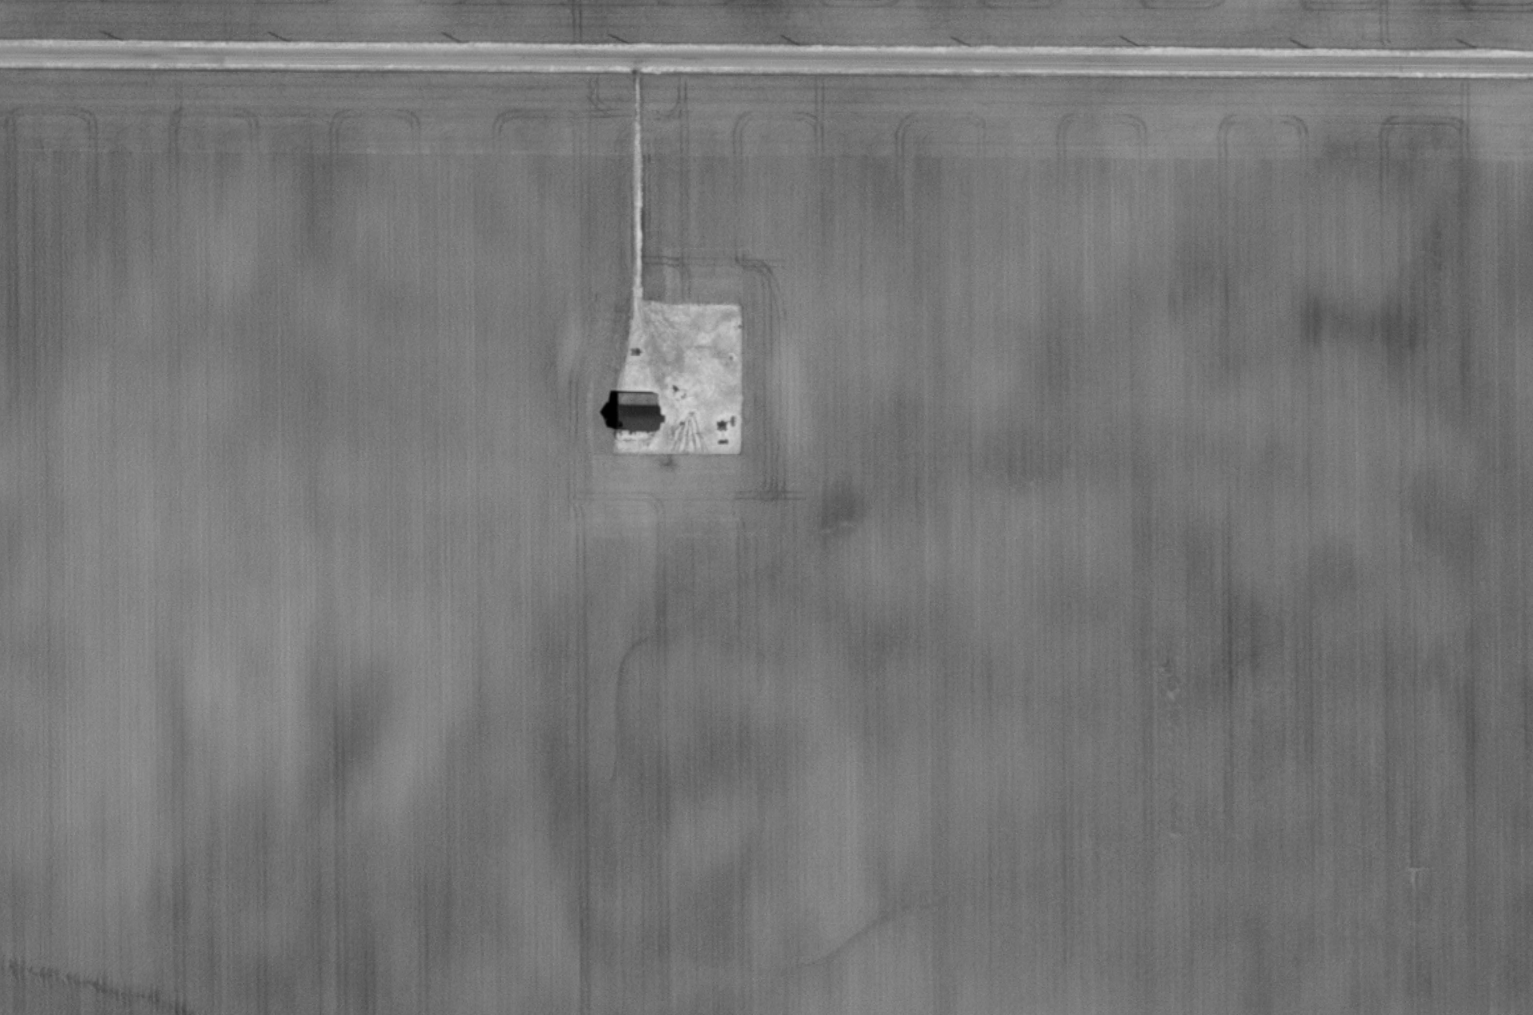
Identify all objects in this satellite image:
road: (766, 57)

